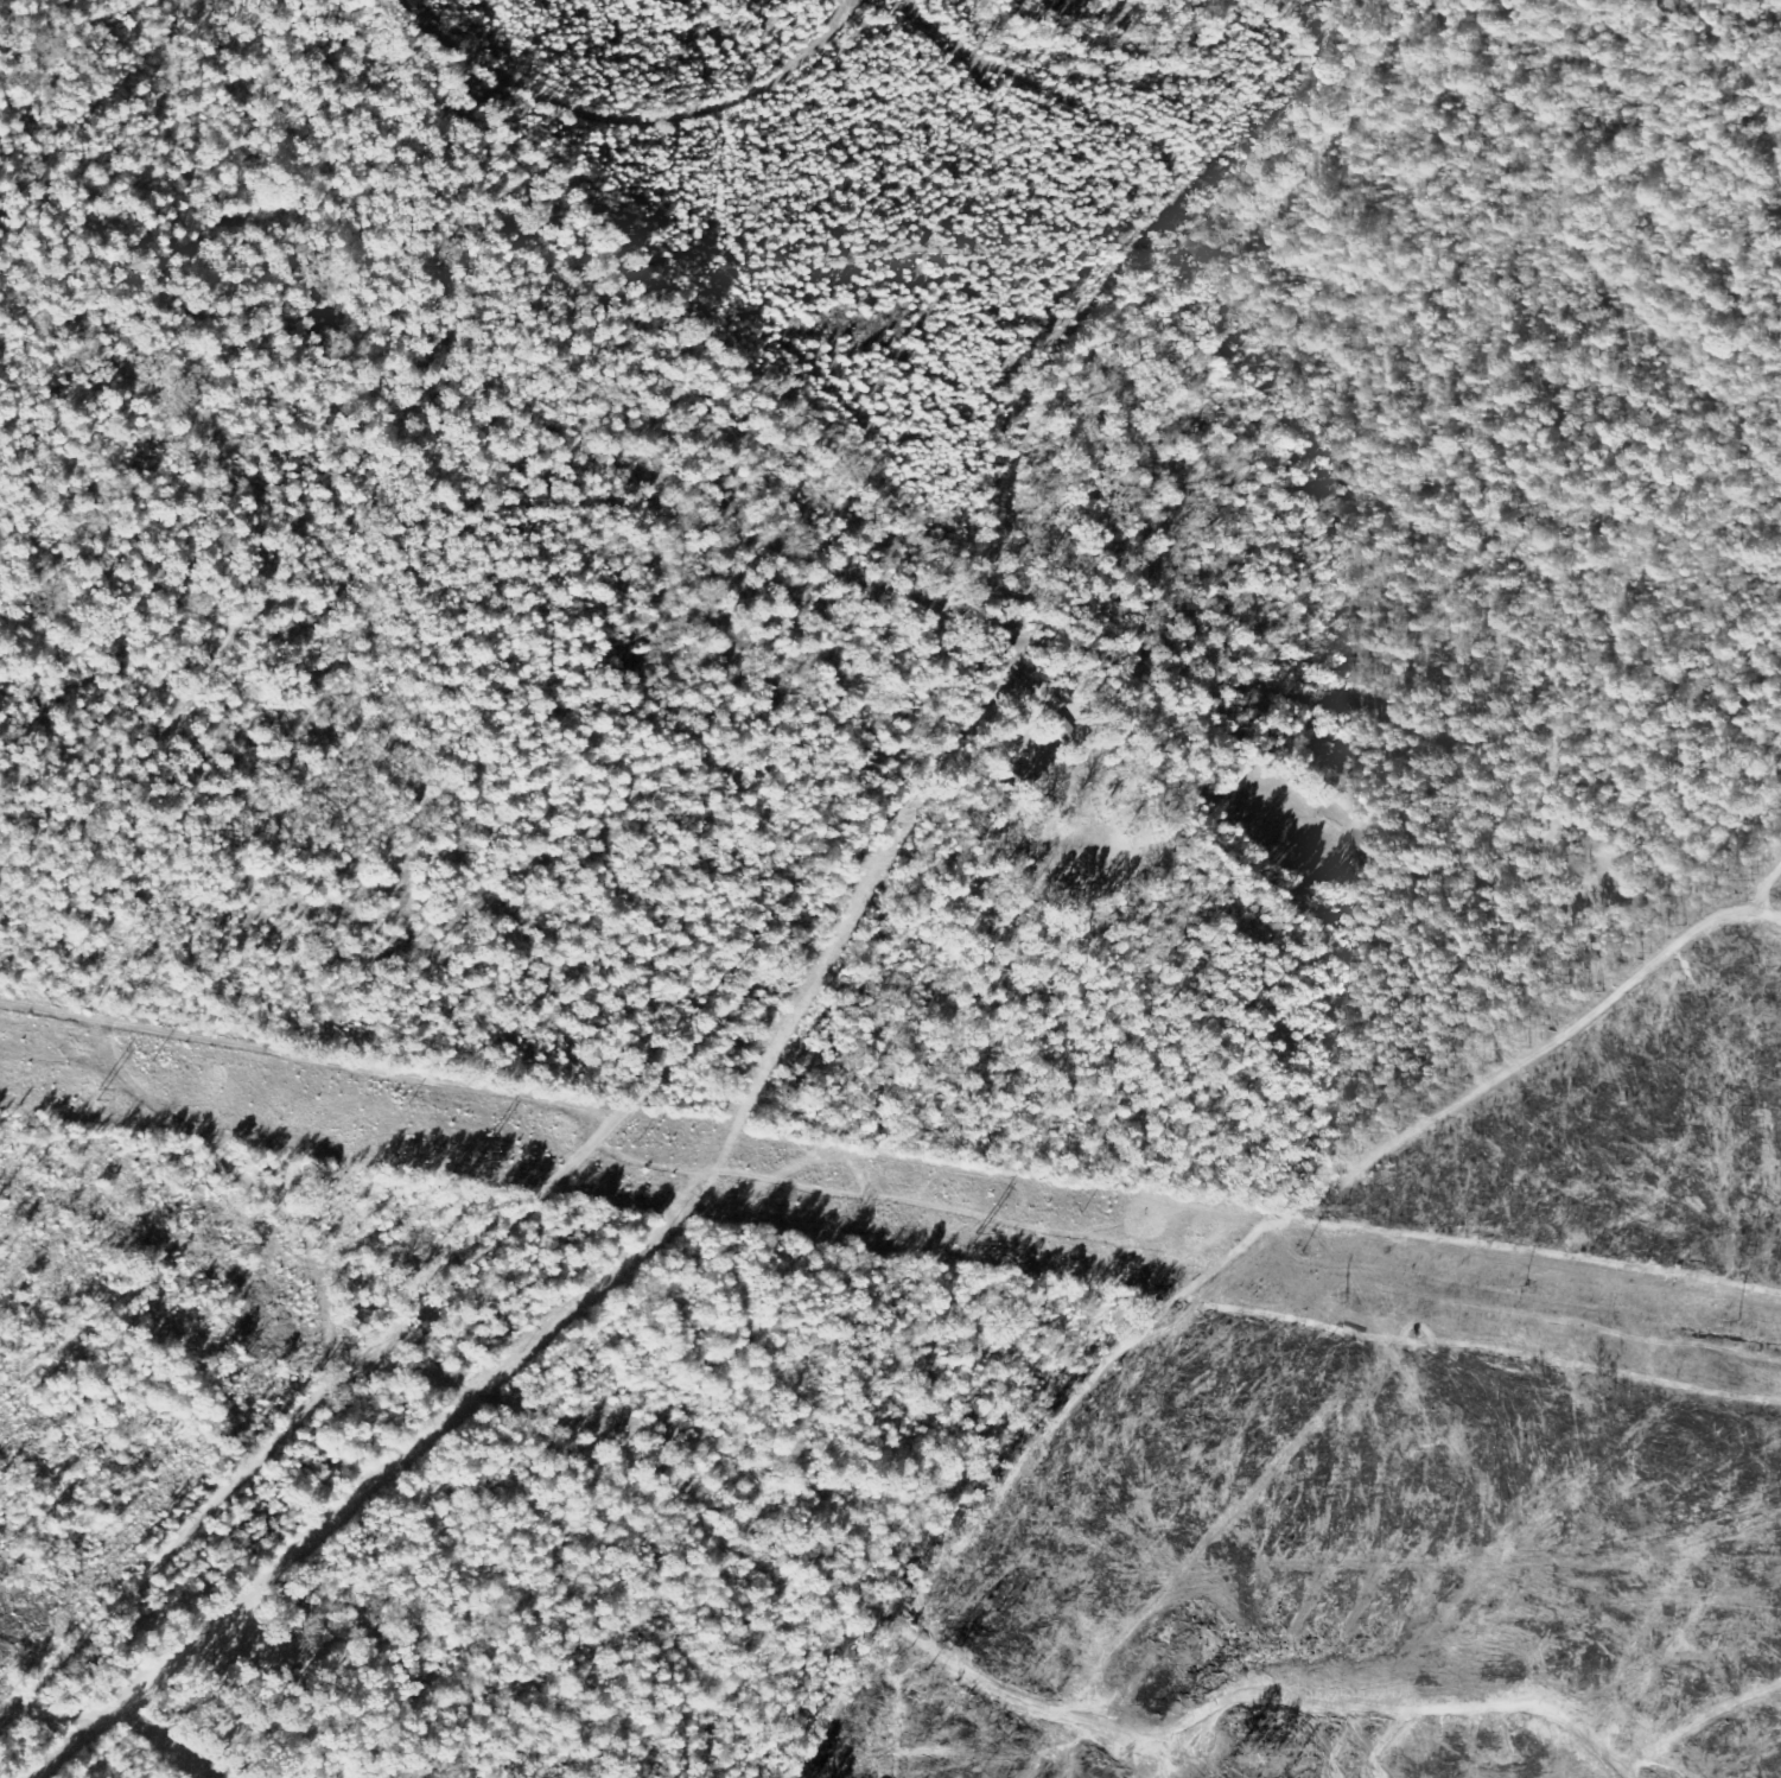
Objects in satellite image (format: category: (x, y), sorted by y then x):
road: (527, 1202)

